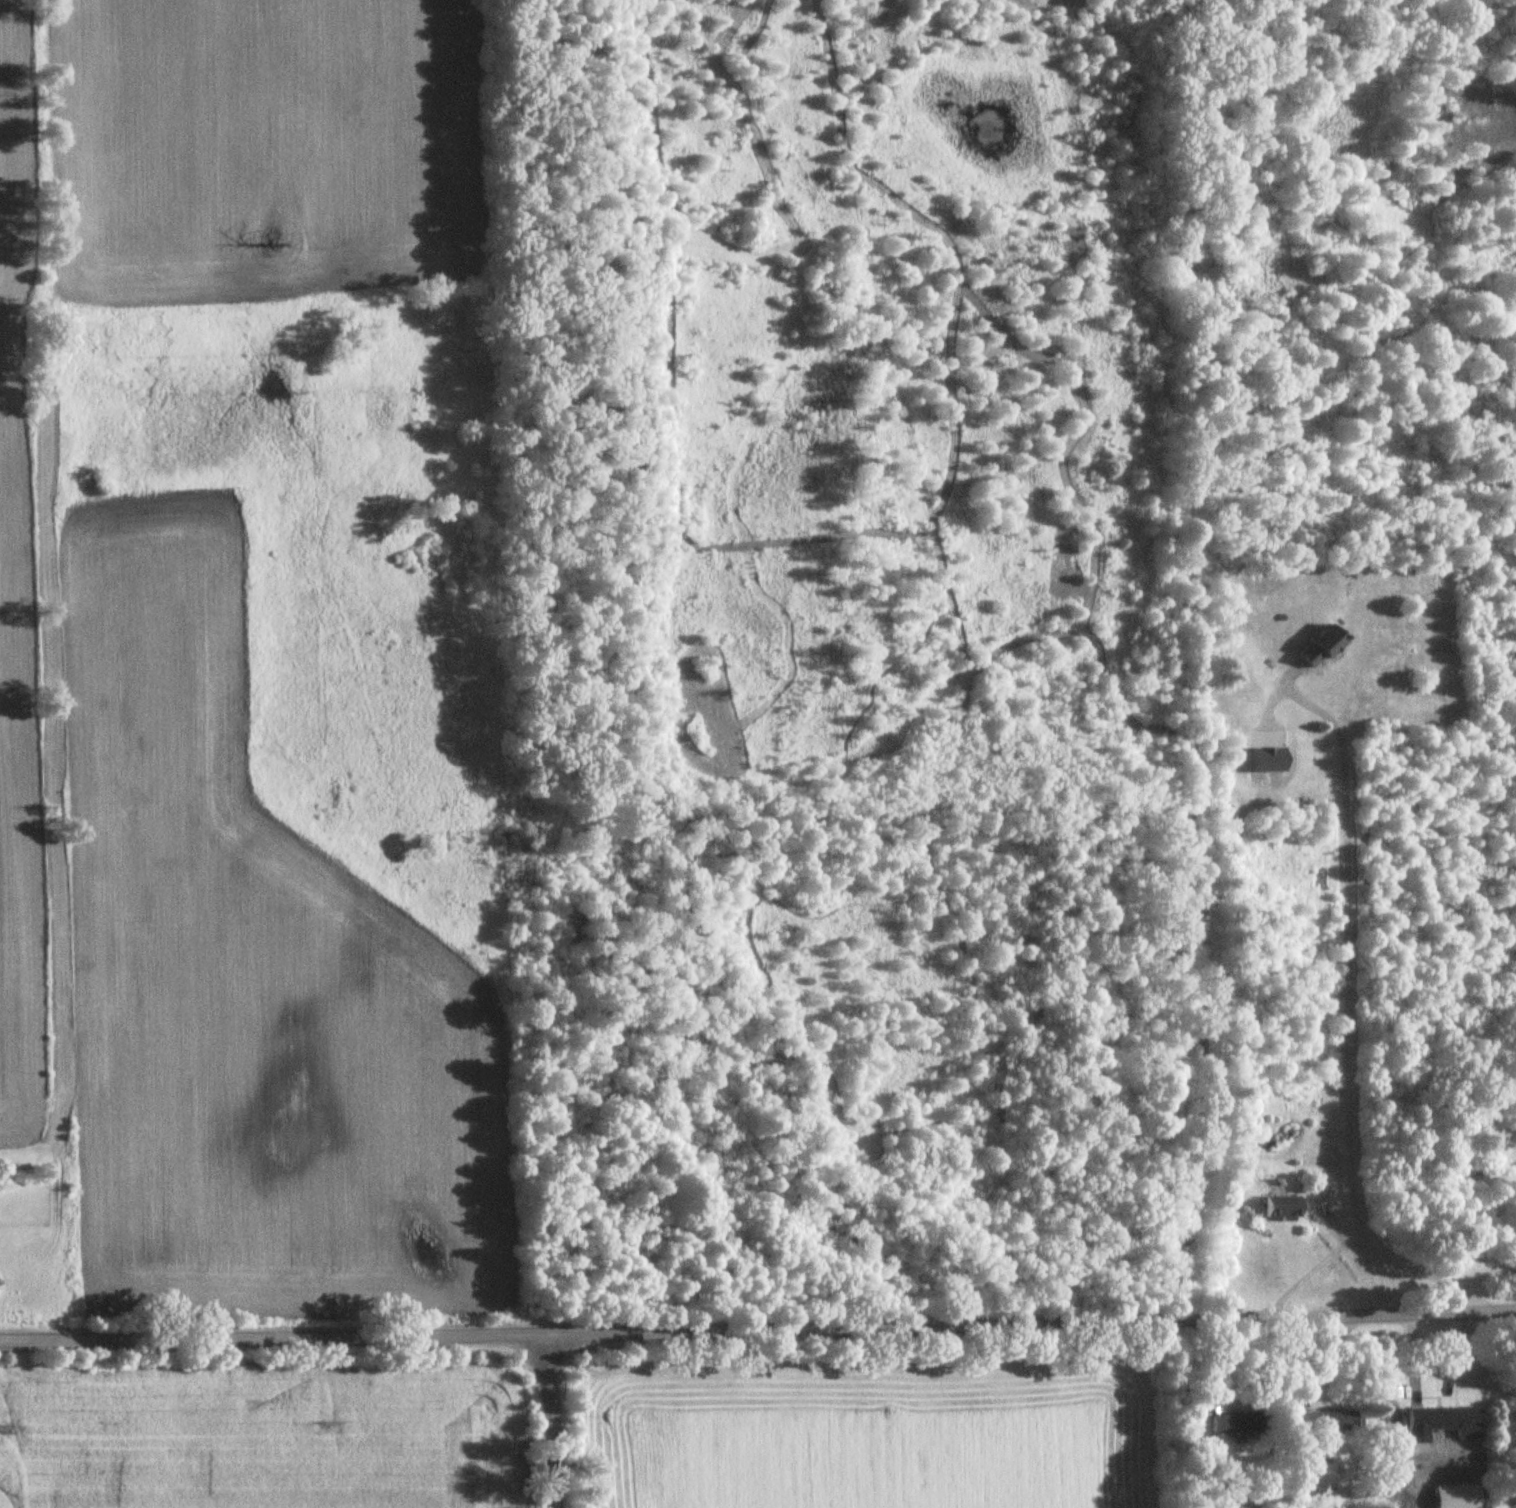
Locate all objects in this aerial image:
building: (1323, 646)
road: (1347, 1020)
building: (1283, 1207)
road: (1326, 1217)
road: (1303, 1274)
road: (758, 1329)
building: (1433, 1418)
building: (1341, 1420)
road: (550, 1421)
building: (1236, 1423)

